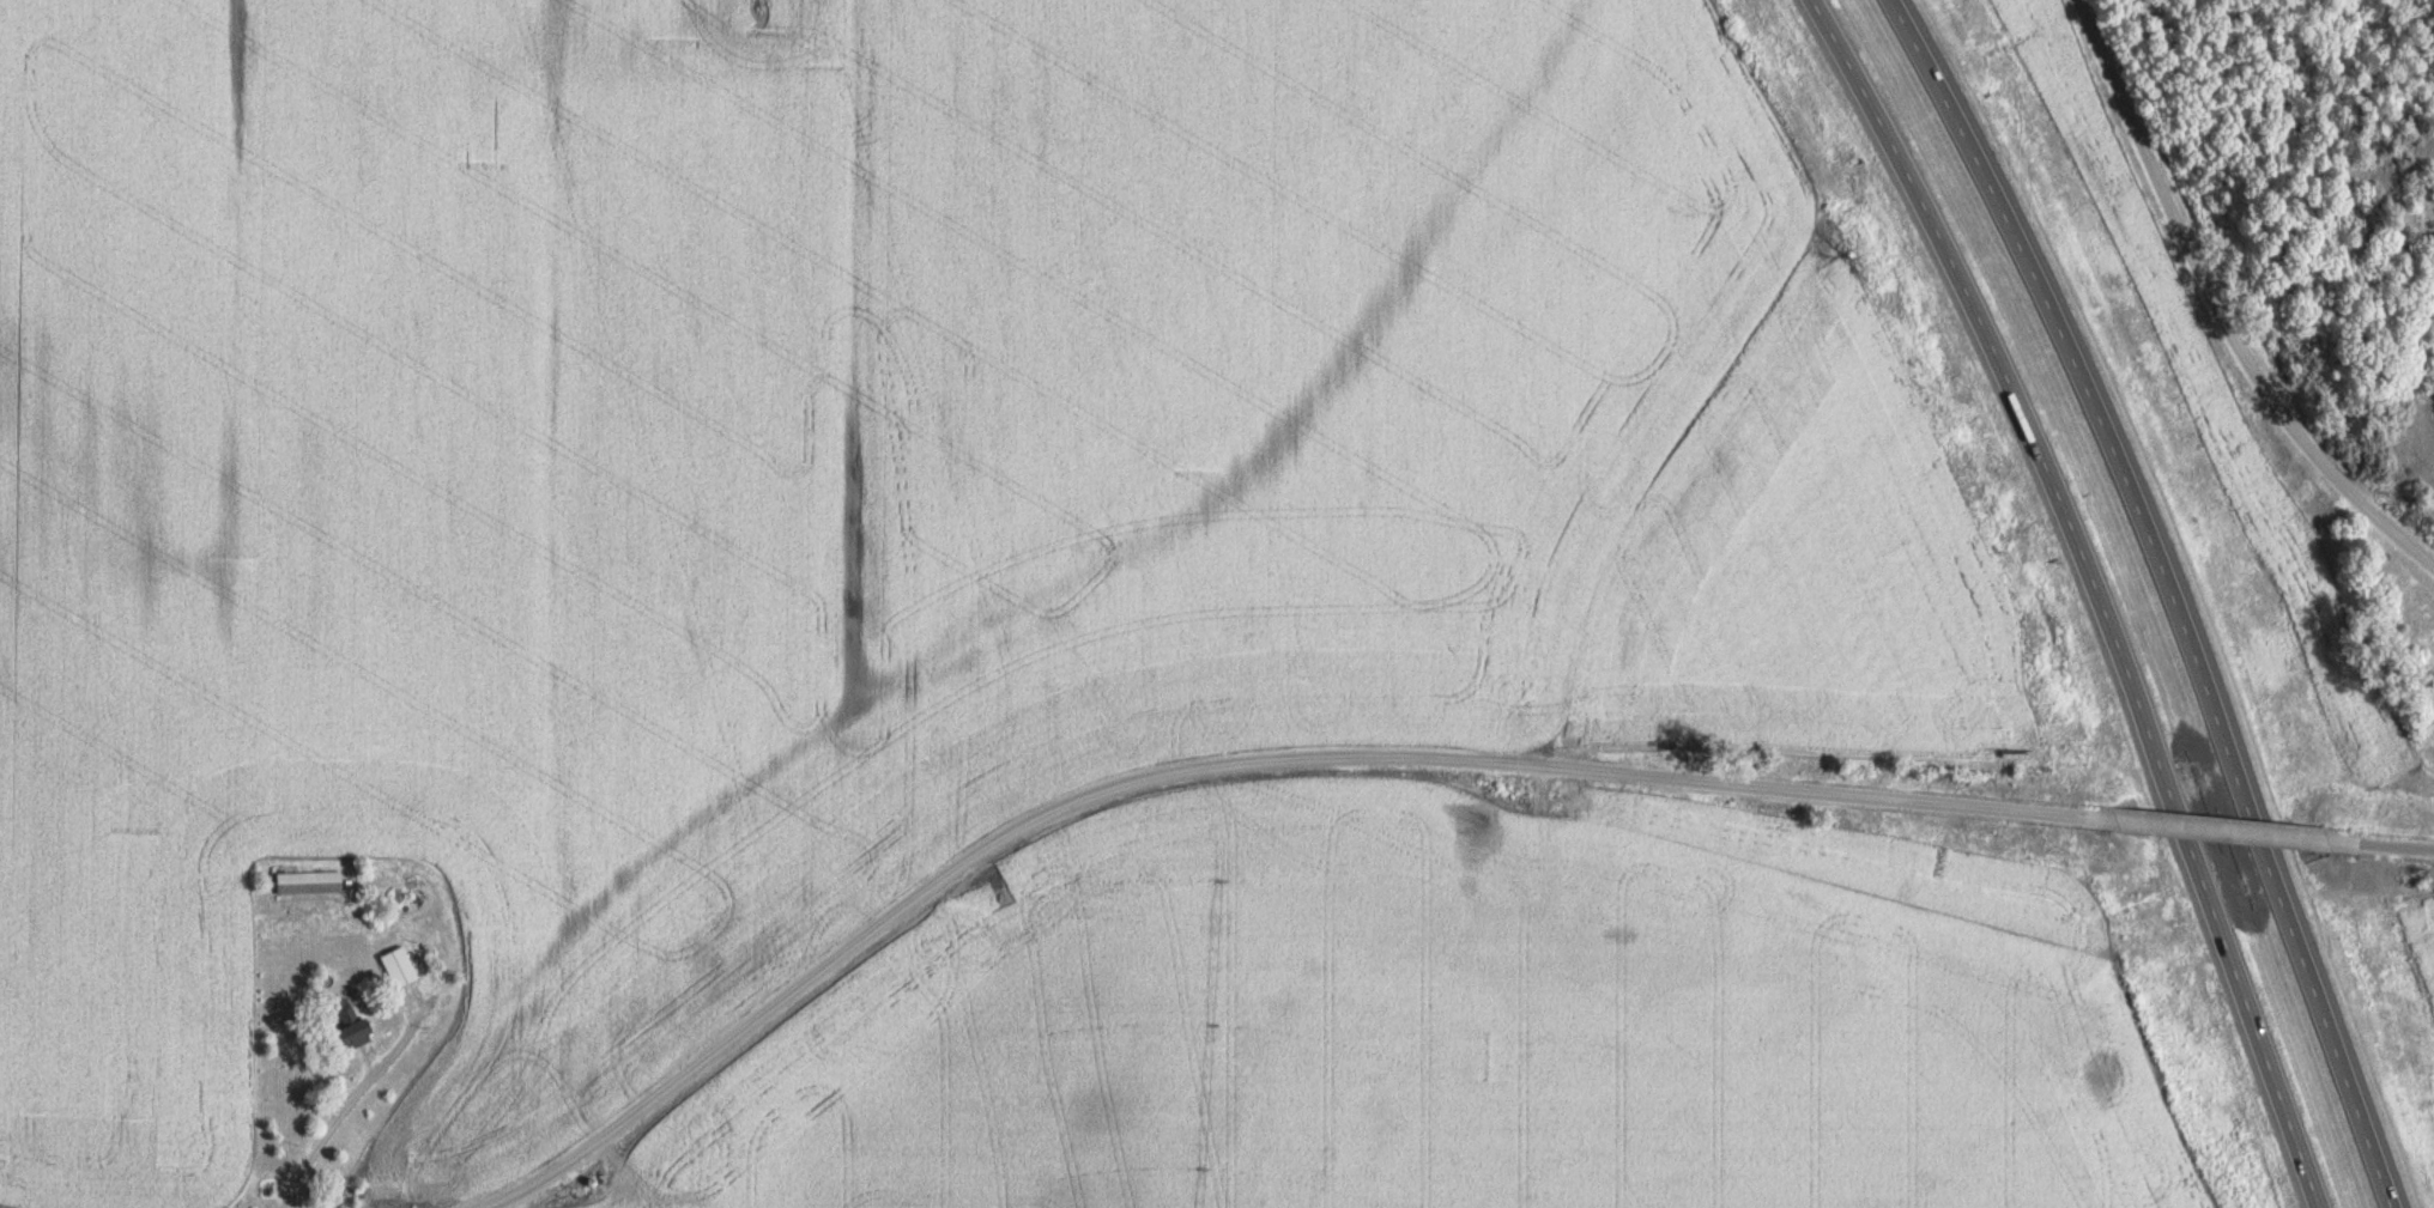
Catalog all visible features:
road: (2220, 308)
road: (2097, 591)
road: (2174, 594)
road: (1224, 763)
road: (2223, 827)
road: (2391, 842)
building: (310, 881)
building: (401, 966)
building: (356, 1024)

